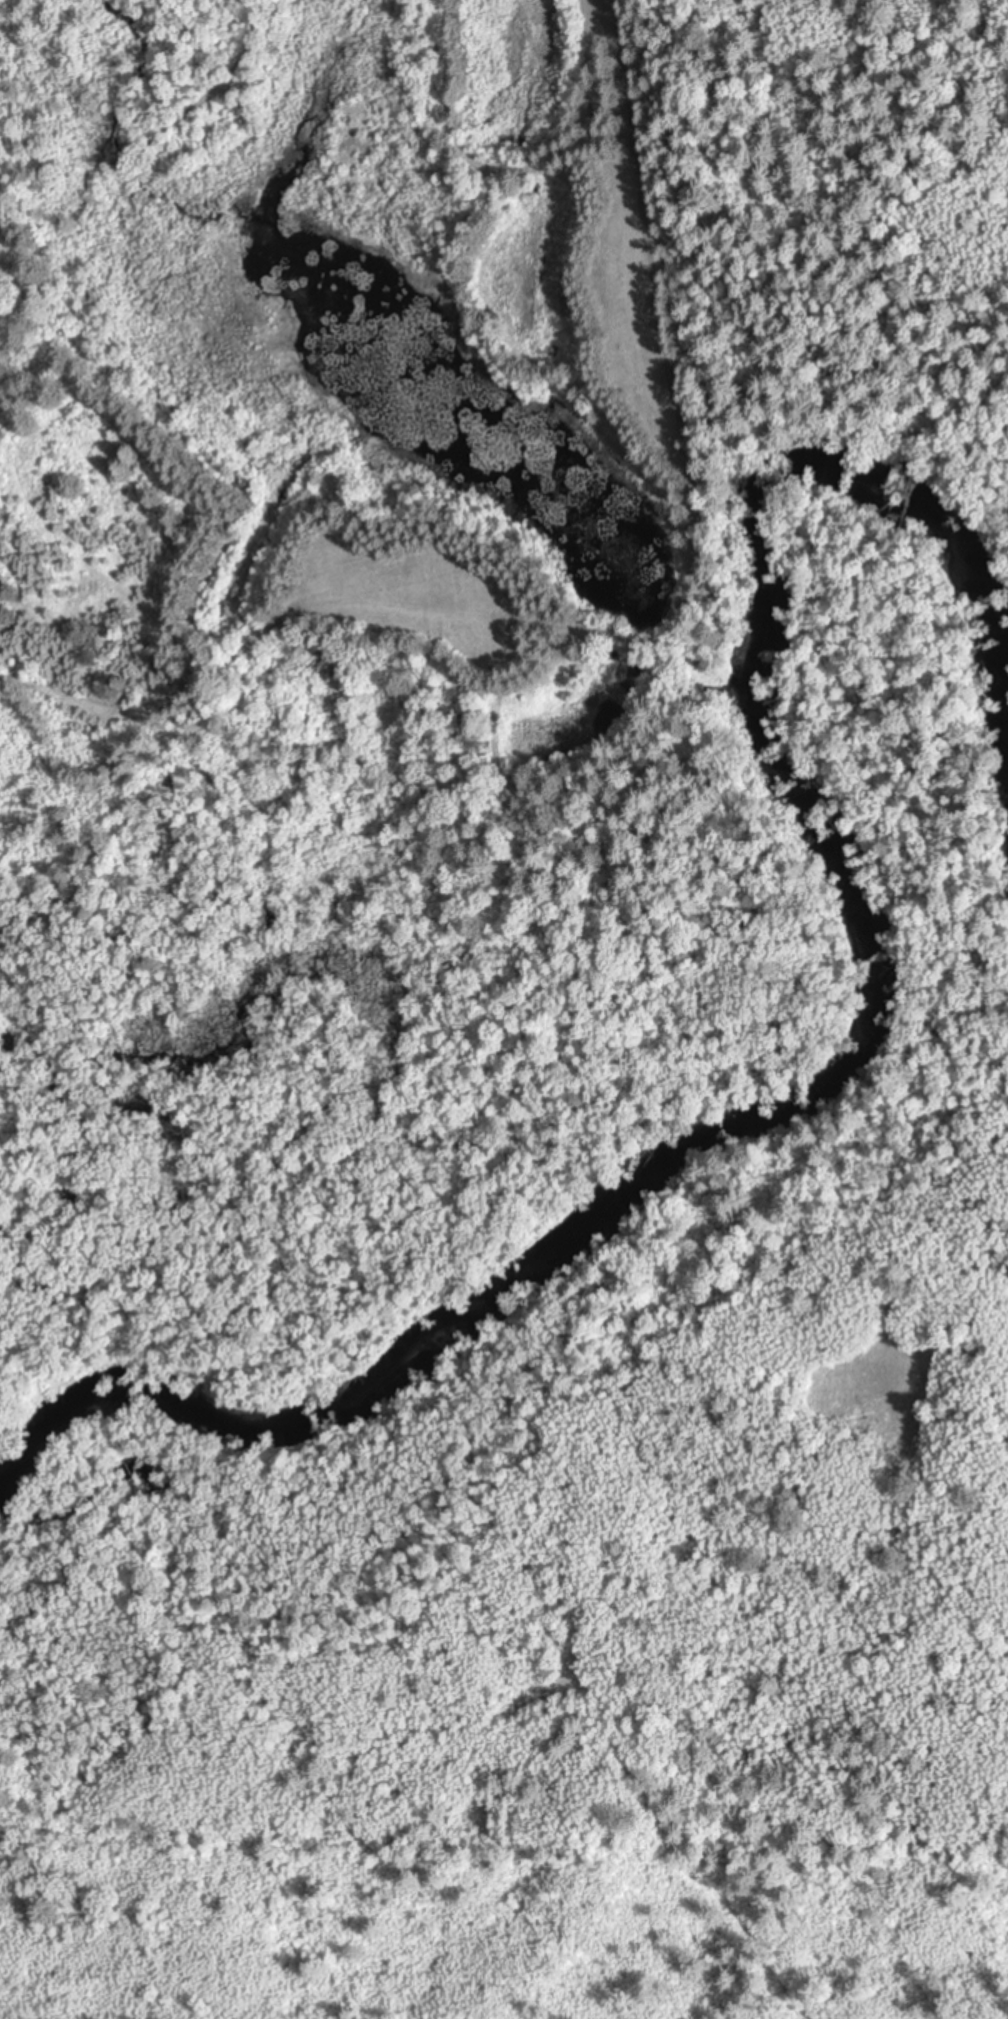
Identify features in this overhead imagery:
road: (674, 410)
river: (874, 1019)

